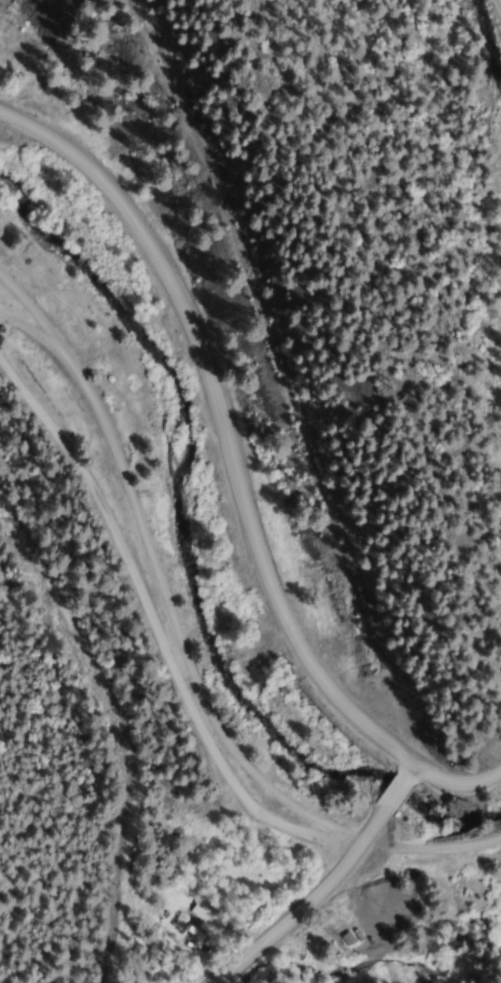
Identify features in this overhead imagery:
road: (27, 309)
road: (27, 328)
road: (237, 476)
road: (158, 634)
road: (196, 686)
road: (400, 791)
road: (307, 902)
building: (207, 912)

